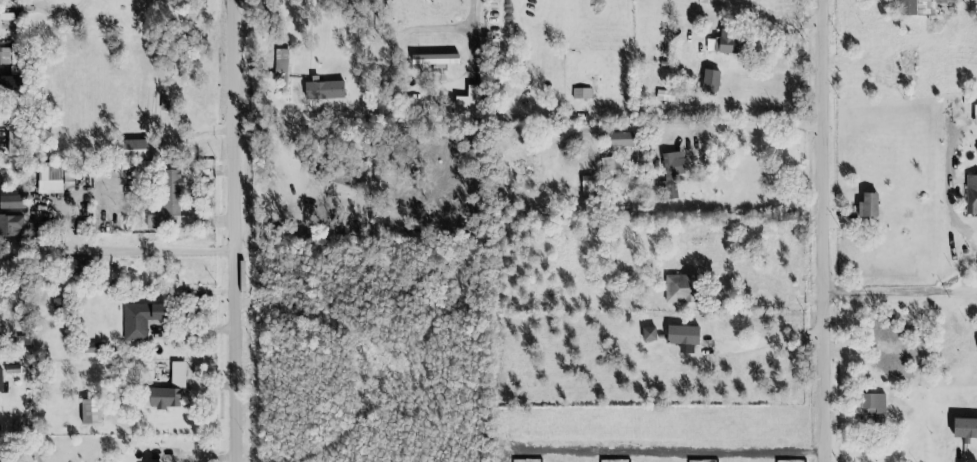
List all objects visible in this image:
building: (916, 6)
road: (781, 22)
road: (473, 27)
building: (726, 44)
building: (9, 55)
building: (432, 60)
building: (280, 70)
building: (709, 84)
building: (8, 86)
building: (322, 91)
building: (664, 96)
building: (471, 98)
building: (974, 115)
road: (747, 127)
building: (620, 140)
building: (134, 149)
building: (611, 165)
building: (670, 173)
road: (949, 175)
building: (49, 176)
building: (585, 186)
building: (972, 194)
building: (11, 200)
building: (171, 202)
building: (869, 205)
building: (11, 224)
road: (240, 230)
road: (827, 231)
road: (160, 252)
building: (78, 267)
road: (962, 268)
building: (679, 289)
road: (902, 292)
building: (141, 319)
building: (648, 335)
building: (681, 336)
road: (769, 341)
building: (888, 346)
building: (0, 348)
building: (0, 382)
building: (165, 390)
building: (871, 404)
building: (89, 413)
building: (963, 428)

